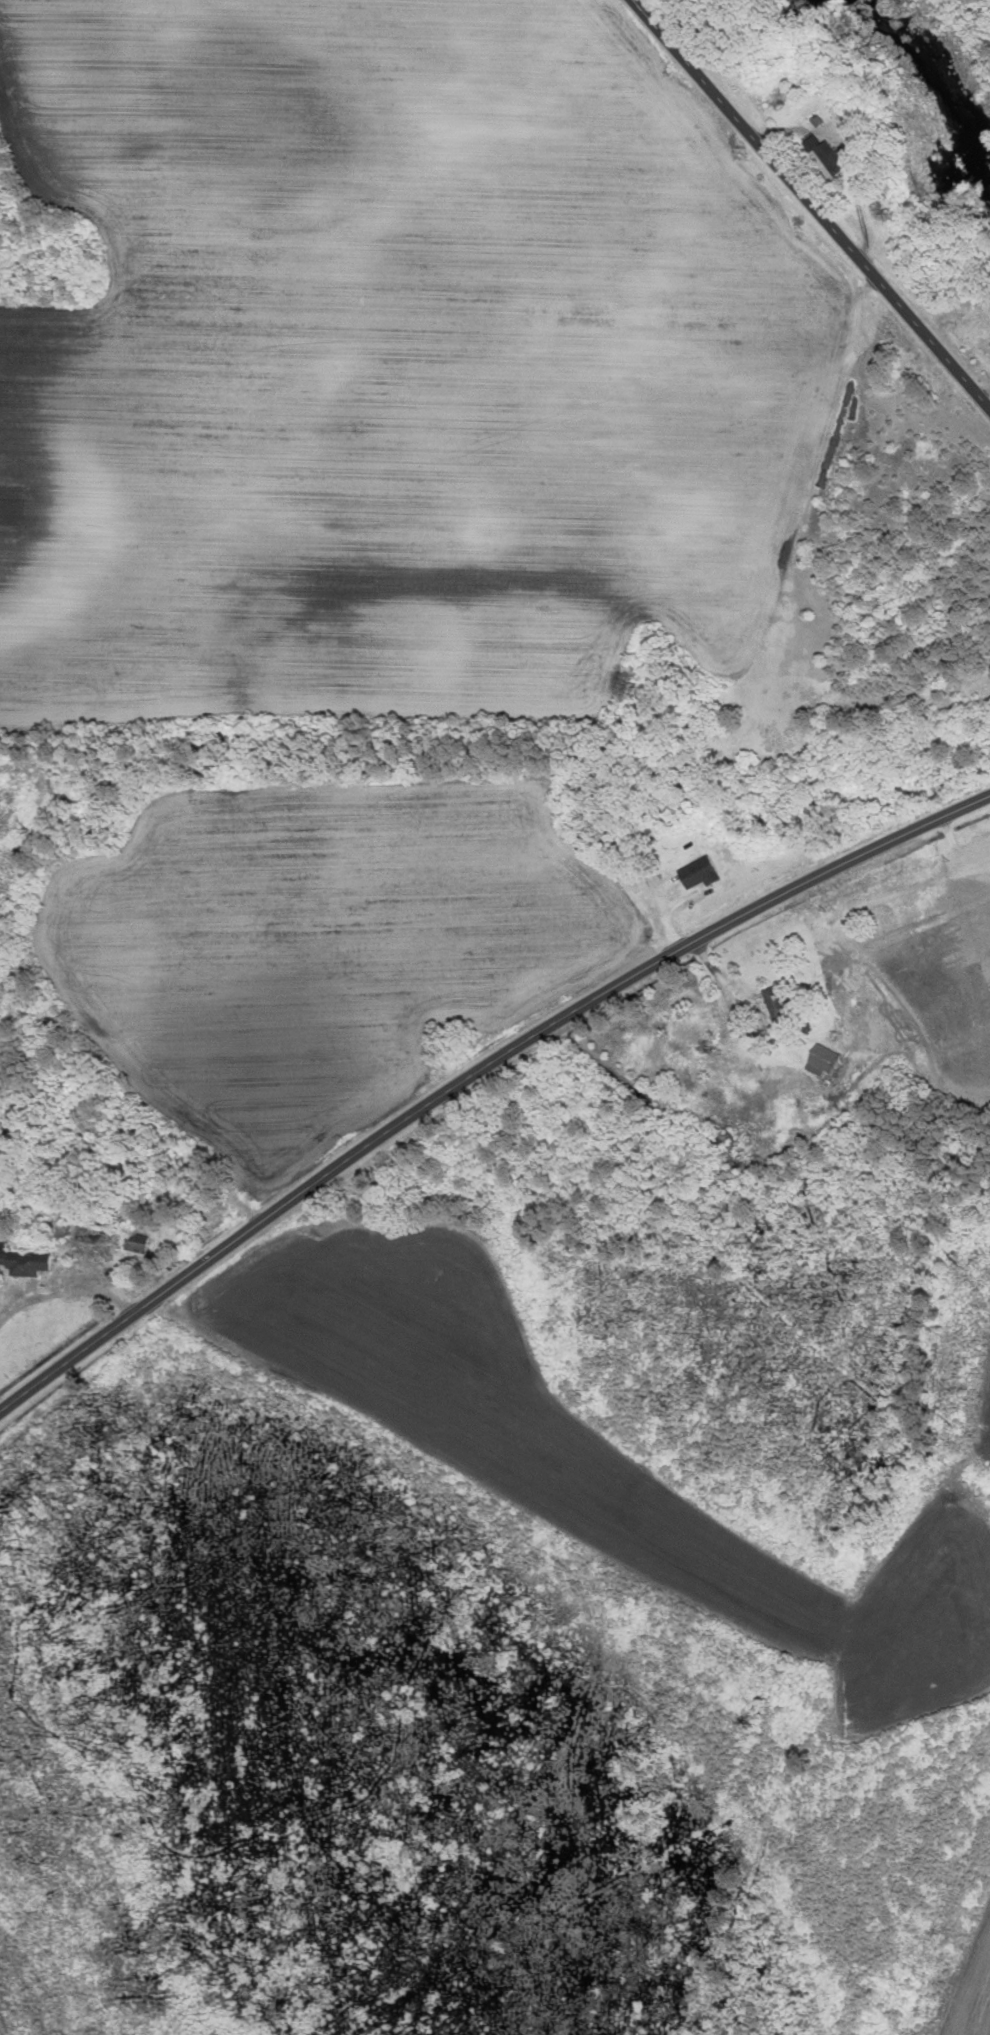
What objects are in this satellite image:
road: (845, 159)
building: (826, 161)
road: (810, 202)
building: (989, 344)
building: (697, 874)
building: (774, 1003)
building: (692, 1031)
building: (821, 1061)
road: (480, 1078)
building: (83, 1235)
building: (134, 1244)
building: (23, 1265)

